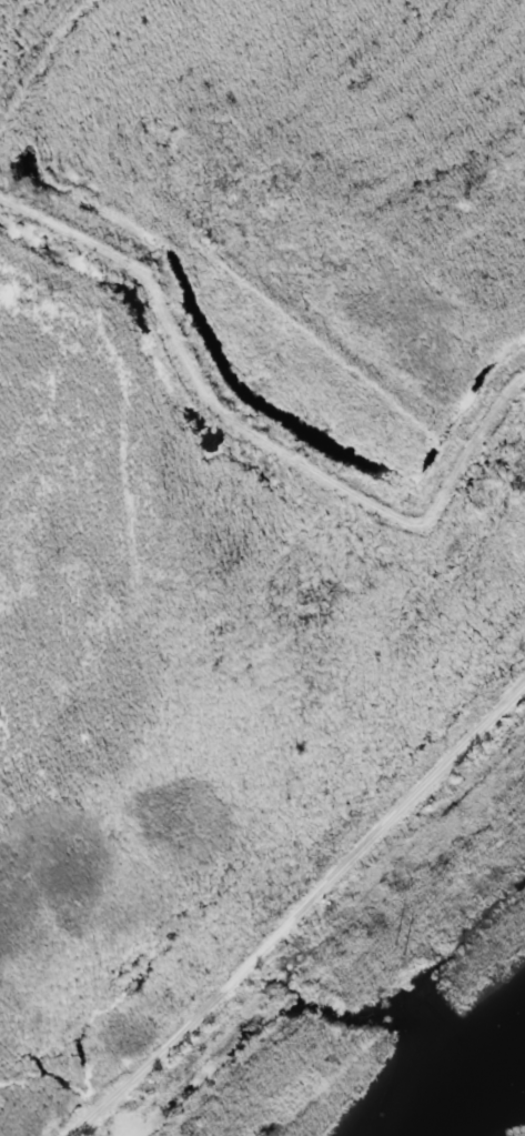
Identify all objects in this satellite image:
power tower: (398, 952)

